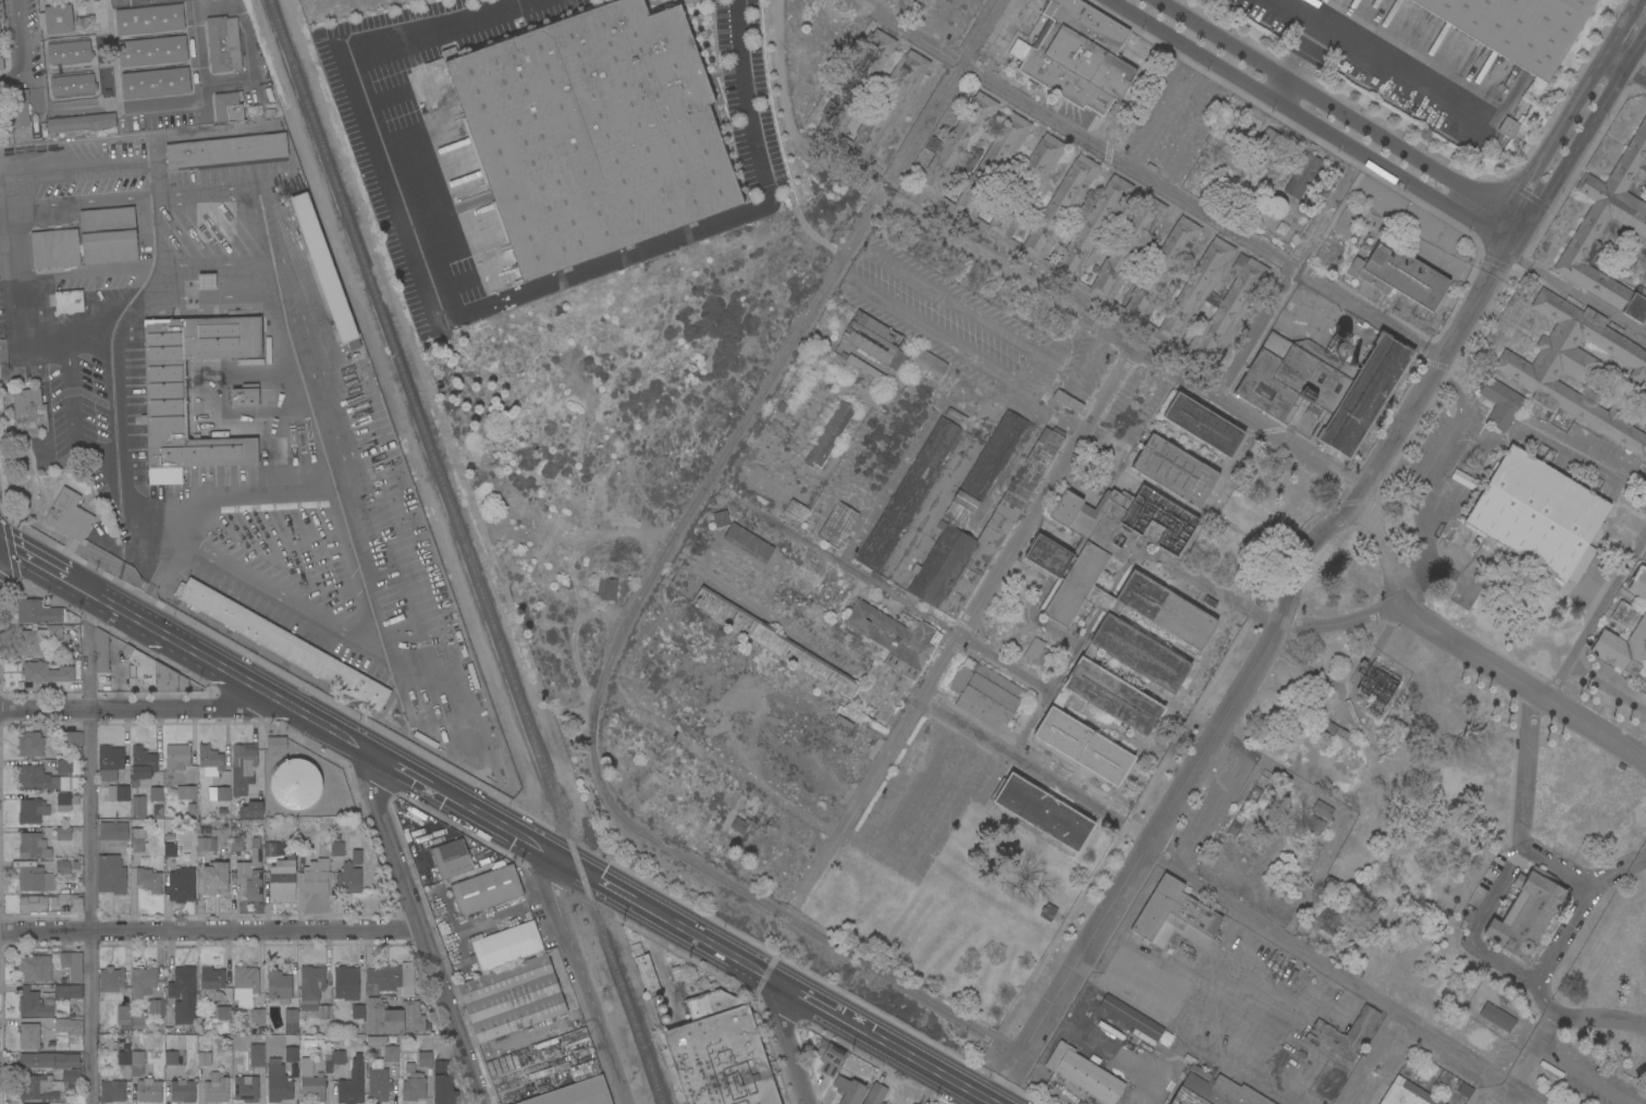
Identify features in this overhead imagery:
road: (1634, 8)
building: (1, 12)
building: (57, 19)
building: (149, 19)
building: (1515, 27)
road: (17, 37)
road: (1616, 37)
building: (223, 44)
building: (69, 50)
building: (151, 50)
road: (1306, 51)
building: (2, 54)
road: (1380, 59)
building: (1076, 60)
road: (1612, 65)
road: (1634, 77)
building: (73, 83)
building: (156, 83)
building: (898, 90)
road: (1283, 90)
road: (1309, 90)
building: (228, 107)
building: (17, 108)
road: (142, 108)
road: (1568, 114)
road: (1595, 116)
road: (1310, 121)
building: (81, 123)
building: (1508, 126)
building: (592, 133)
parking lot: (109, 148)
building: (225, 149)
building: (1261, 151)
road: (90, 168)
building: (1302, 173)
parking lot: (225, 174)
road: (156, 181)
parking lot: (90, 184)
road: (1160, 184)
road: (29, 193)
road: (1498, 194)
road: (1519, 205)
road: (95, 206)
building: (1274, 207)
road: (15, 213)
road: (1526, 221)
building: (1589, 228)
building: (1090, 232)
building: (108, 237)
building: (54, 248)
road: (1501, 256)
building: (323, 267)
road: (87, 274)
building: (1399, 274)
road: (16, 281)
building: (207, 281)
road: (1283, 283)
parking lot: (101, 286)
road: (1574, 294)
building: (69, 302)
road: (481, 307)
parking lot: (1, 308)
building: (1204, 309)
road: (1082, 311)
road: (925, 329)
building: (873, 340)
road: (54, 345)
road: (1057, 355)
building: (861, 365)
building: (925, 367)
building: (1576, 368)
road: (774, 376)
building: (1324, 385)
building: (165, 387)
building: (245, 395)
road: (69, 397)
building: (1067, 401)
parking lot: (81, 402)
building: (1500, 403)
road: (1048, 408)
building: (29, 409)
building: (1645, 412)
building: (956, 416)
building: (1203, 425)
building: (830, 434)
road: (1496, 445)
road: (95, 447)
building: (1174, 470)
building: (907, 494)
parking lot: (108, 504)
building: (796, 510)
building: (1004, 515)
building: (1538, 515)
building: (70, 516)
building: (721, 518)
road: (346, 519)
building: (837, 525)
building: (748, 542)
building: (699, 543)
railway: (454, 552)
railway: (466, 552)
road: (835, 559)
road: (28, 565)
road: (153, 575)
building: (606, 589)
building: (813, 589)
road: (1221, 594)
building: (39, 612)
road: (1597, 616)
building: (1115, 618)
road: (1342, 621)
building: (1632, 623)
road: (962, 629)
building: (54, 633)
building: (894, 638)
building: (773, 641)
building: (29, 643)
building: (284, 645)
road: (1470, 650)
building: (100, 651)
building: (1036, 652)
parking lot: (365, 662)
road: (1003, 663)
building: (46, 673)
building: (152, 675)
road: (1245, 685)
building: (1376, 686)
road: (1607, 688)
building: (984, 694)
road: (131, 706)
building: (1351, 712)
building: (1332, 732)
building: (72, 738)
road: (1129, 741)
building: (30, 744)
building: (277, 744)
building: (177, 757)
building: (210, 761)
building: (109, 762)
building: (142, 763)
road: (721, 763)
building: (63, 766)
building: (243, 766)
building: (36, 778)
building: (295, 784)
storage tank: (295, 784)
building: (186, 793)
building: (219, 793)
building: (119, 794)
building: (156, 794)
building: (63, 802)
building: (138, 806)
building: (251, 810)
building: (1322, 810)
building: (32, 811)
building: (1042, 811)
building: (1314, 824)
building: (738, 825)
building: (113, 831)
building: (63, 833)
road: (523, 841)
building: (138, 842)
building: (204, 844)
building: (236, 844)
building: (304, 844)
building: (33, 846)
building: (273, 848)
building: (170, 849)
road: (89, 851)
building: (451, 859)
building: (62, 867)
road: (1508, 867)
building: (320, 870)
building: (250, 871)
road: (1618, 873)
building: (110, 874)
building: (349, 874)
building: (214, 878)
building: (35, 879)
building: (148, 880)
building: (282, 880)
building: (181, 885)
road: (1207, 887)
building: (487, 890)
building: (213, 891)
road: (1585, 900)
building: (33, 904)
building: (509, 904)
building: (75, 905)
building: (1047, 912)
building: (1525, 913)
building: (1174, 916)
building: (1330, 919)
road: (799, 921)
road: (209, 929)
road: (420, 931)
building: (507, 946)
building: (72, 965)
building: (35, 968)
building: (644, 969)
building: (388, 979)
road: (581, 980)
building: (345, 982)
building: (143, 983)
building: (111, 984)
building: (211, 984)
building: (245, 985)
building: (278, 985)
building: (312, 991)
building: (69, 992)
building: (183, 994)
building: (512, 997)
building: (34, 1004)
building: (570, 1004)
building: (156, 1007)
road: (1550, 1007)
building: (358, 1011)
building: (123, 1013)
building: (224, 1013)
building: (257, 1016)
building: (394, 1017)
building: (574, 1017)
building: (1131, 1017)
building: (1497, 1017)
road: (1599, 1017)
building: (137, 1021)
building: (291, 1021)
building: (69, 1027)
building: (530, 1031)
building: (1346, 1033)
building: (29, 1036)
building: (575, 1039)
building: (374, 1041)
road: (788, 1044)
building: (291, 1053)
building: (720, 1053)
building: (257, 1054)
building: (391, 1054)
building: (339, 1055)
building: (171, 1057)
building: (830, 1057)
road: (1522, 1057)
building: (204, 1059)
building: (425, 1059)
building: (132, 1062)
building: (328, 1063)
building: (1083, 1074)
building: (50, 1075)
building: (311, 1080)
building: (377, 1080)
building: (278, 1081)
building: (1330, 1082)
building: (352, 1083)
building: (443, 1083)
building: (413, 1084)
building: (216, 1089)
building: (246, 1089)
building: (848, 1090)
building: (1214, 1090)
road: (1518, 1090)
building: (112, 1091)
building: (149, 1091)
building: (182, 1091)
building: (570, 1093)
building: (875, 1094)
building: (1407, 1094)
building: (44, 1103)
building: (912, 1103)
building: (913, 1103)

